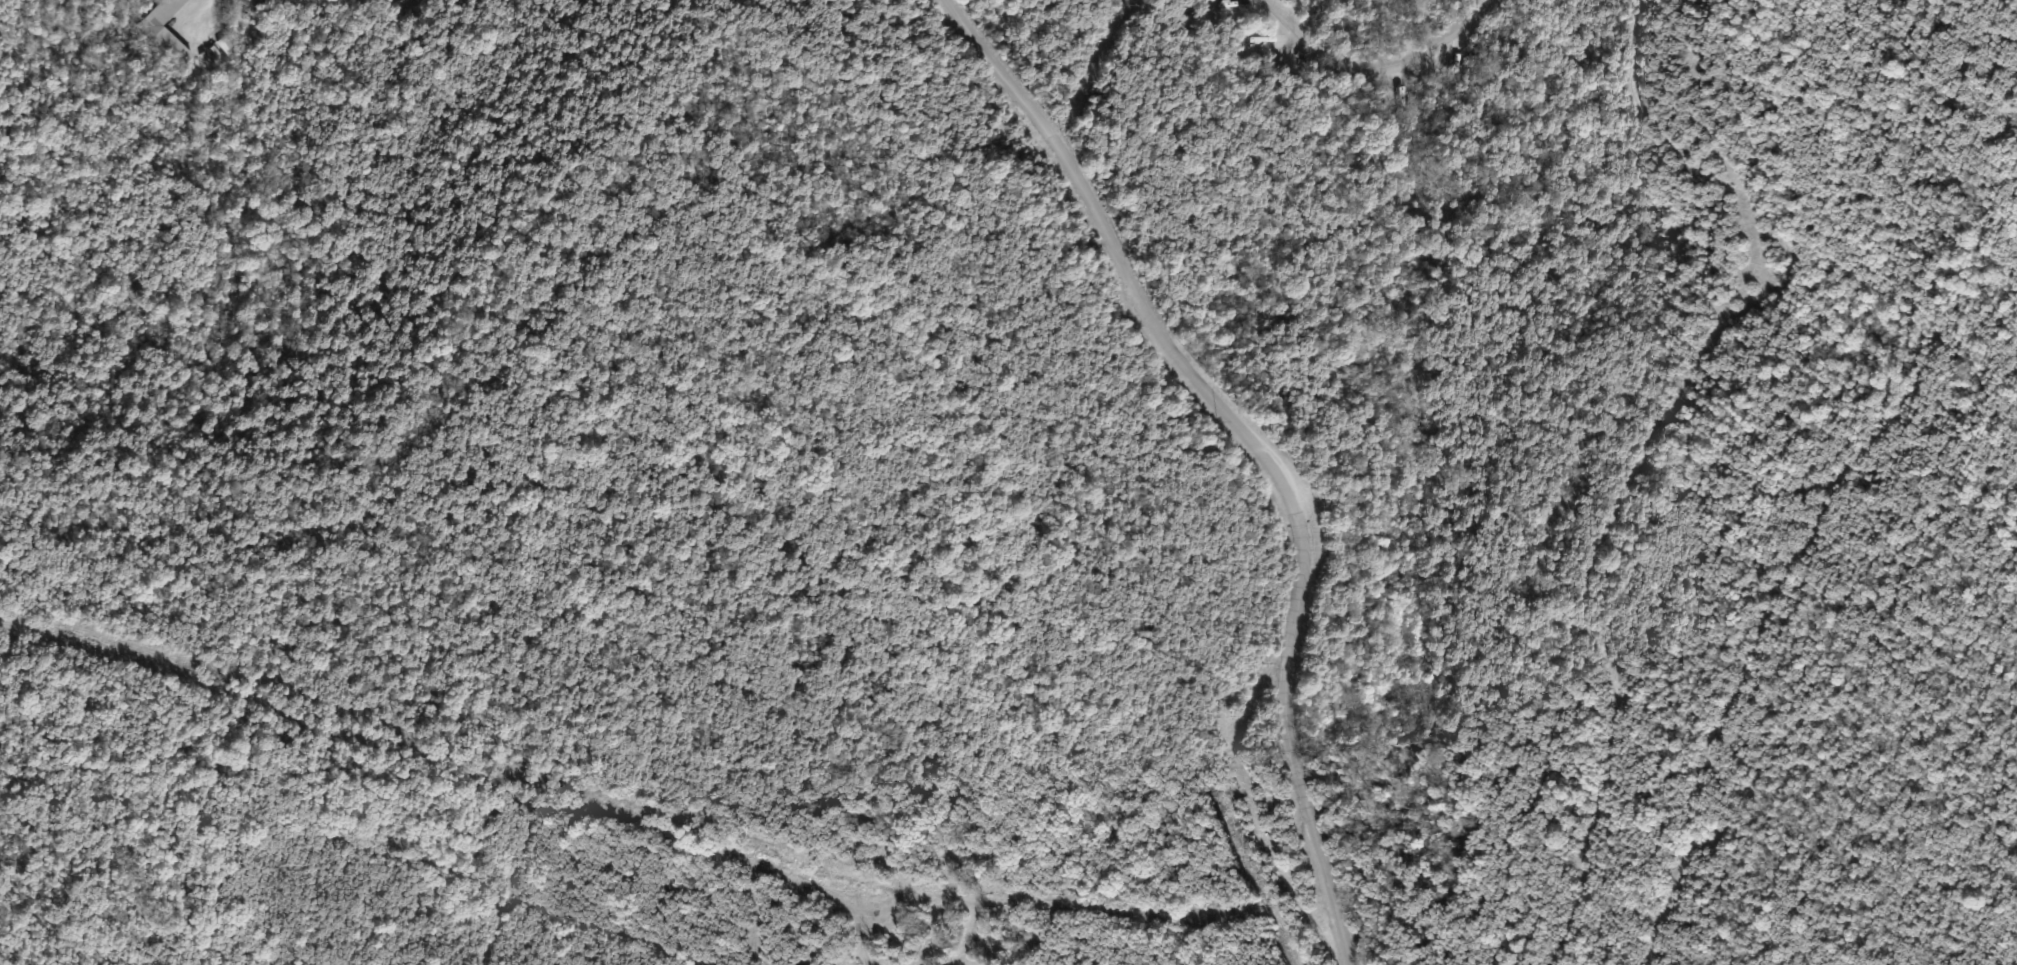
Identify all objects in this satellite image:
road: (957, 13)
building: (167, 32)
building: (230, 48)
road: (1376, 73)
road: (1267, 455)
park: (1008, 482)

